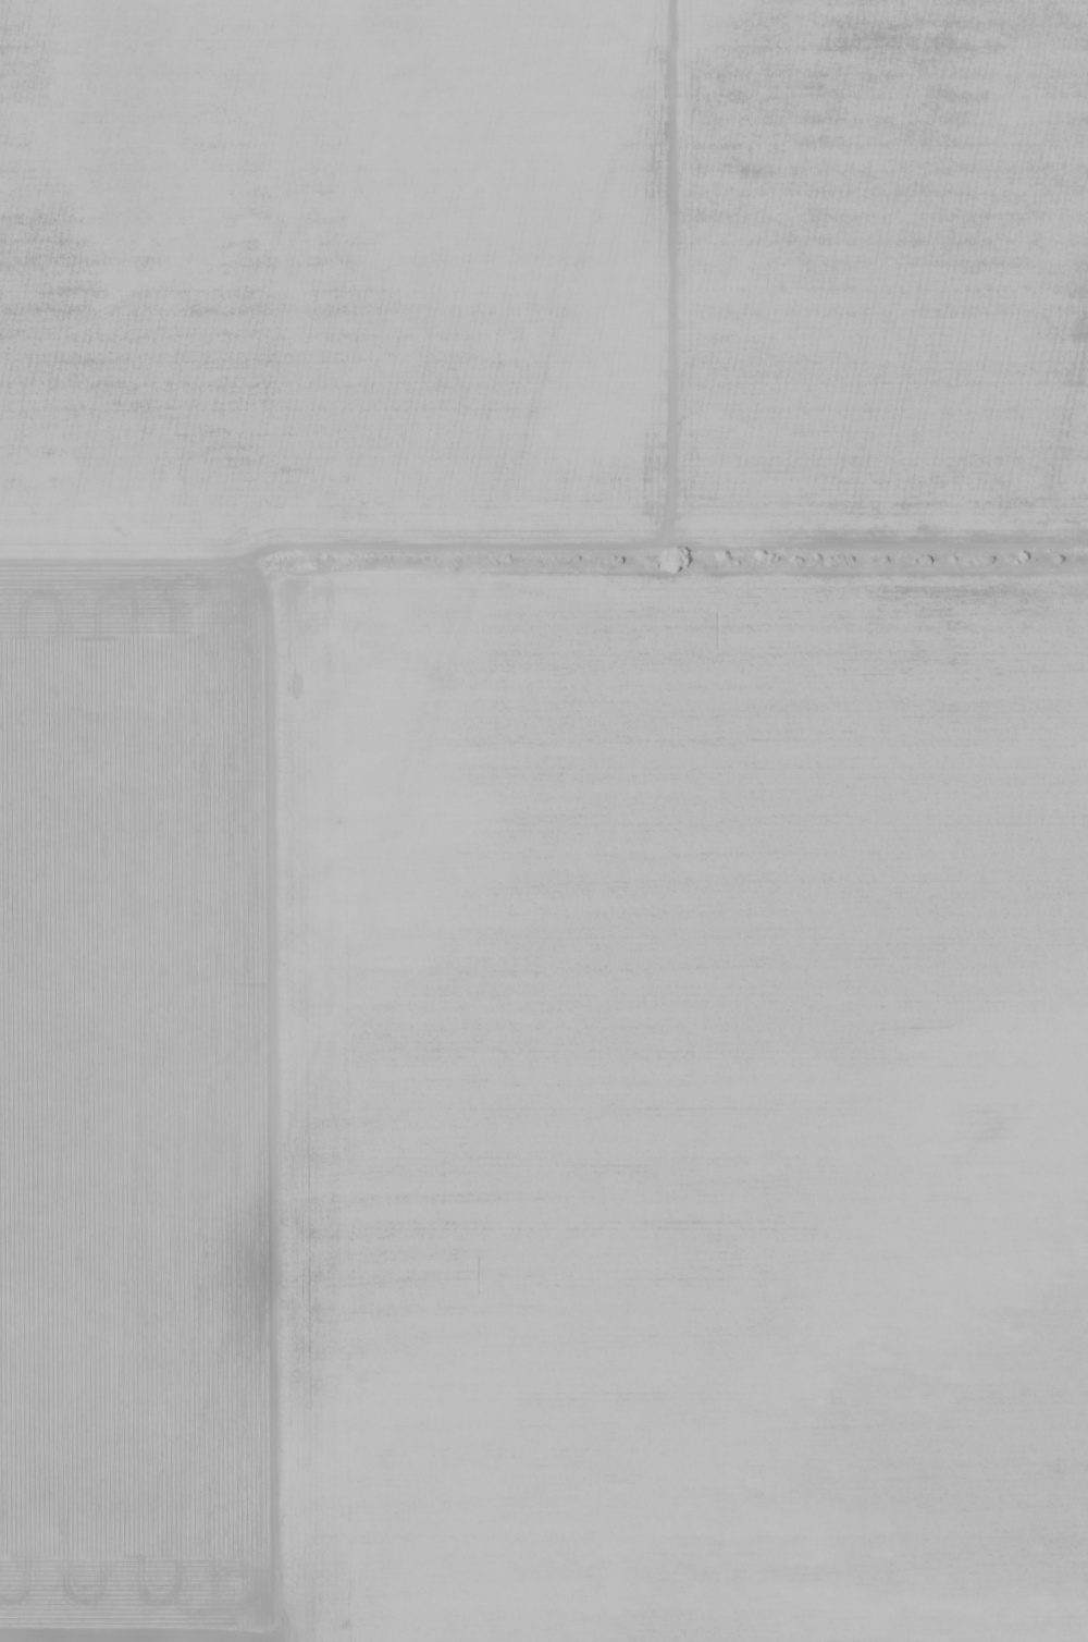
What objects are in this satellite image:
road: (665, 279)

